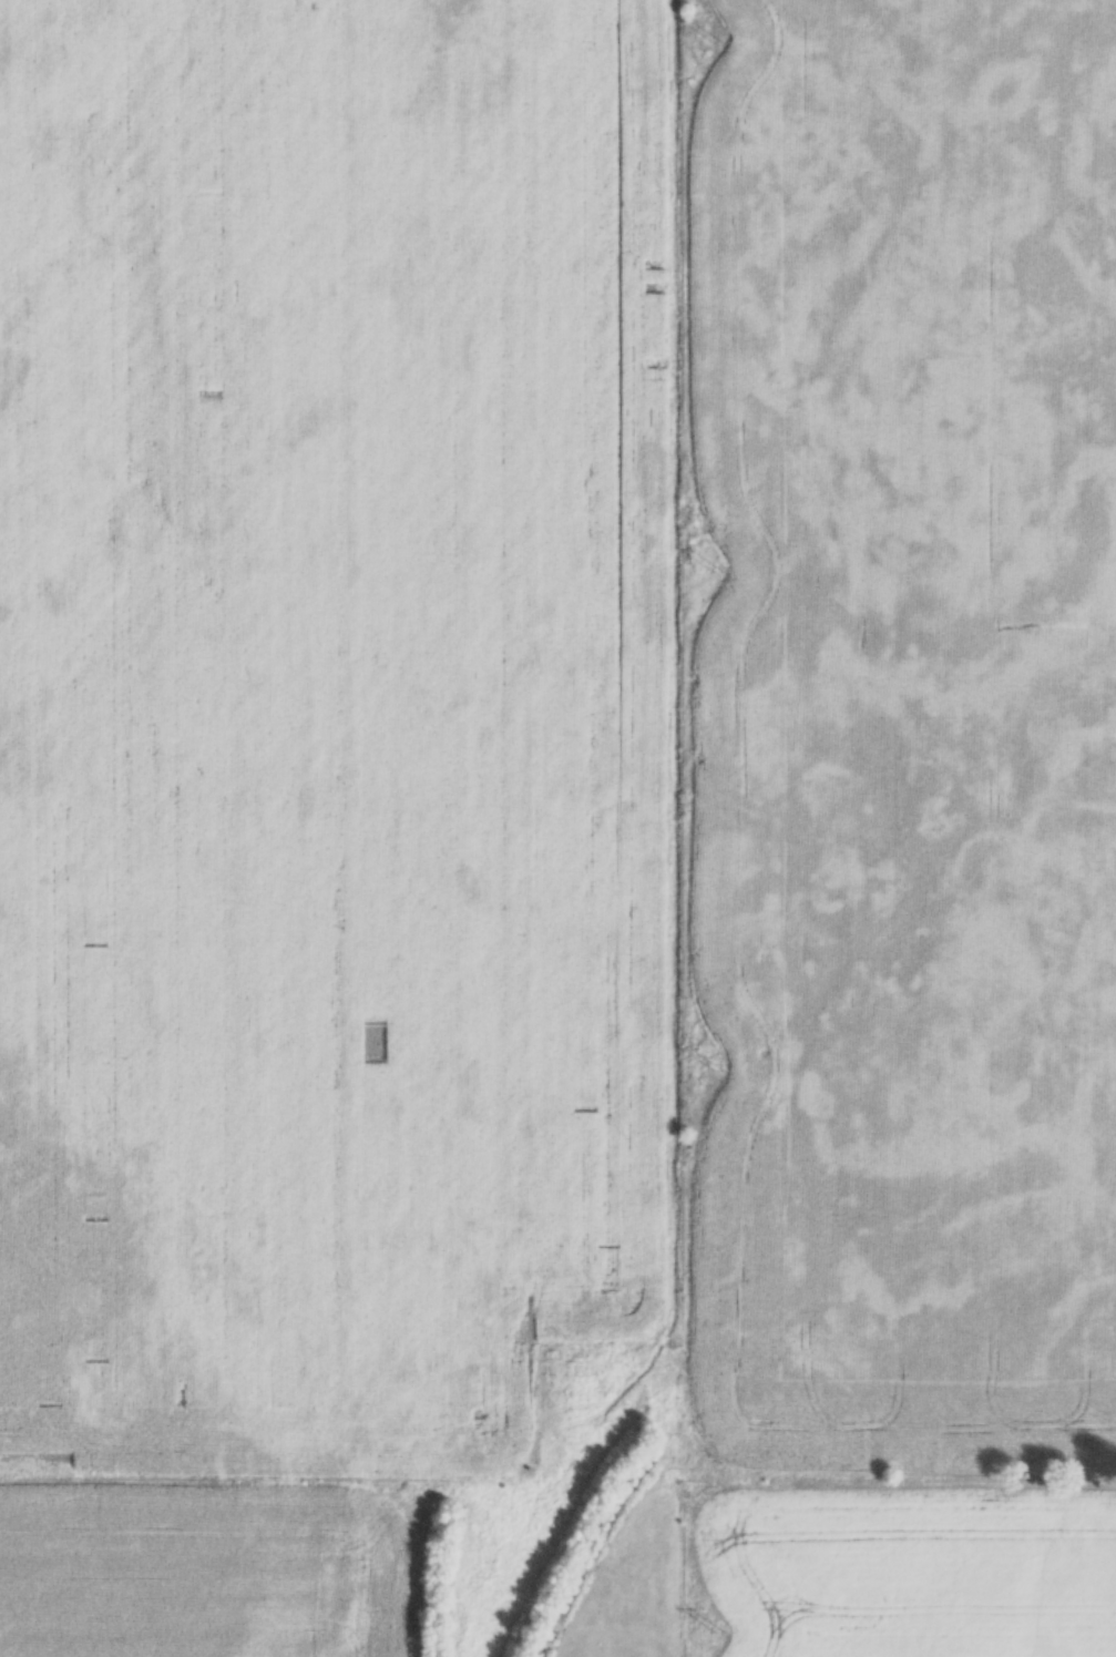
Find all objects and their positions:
power tower: (716, 44)
power tower: (717, 574)
power tower: (719, 1073)
power tower: (718, 1634)

